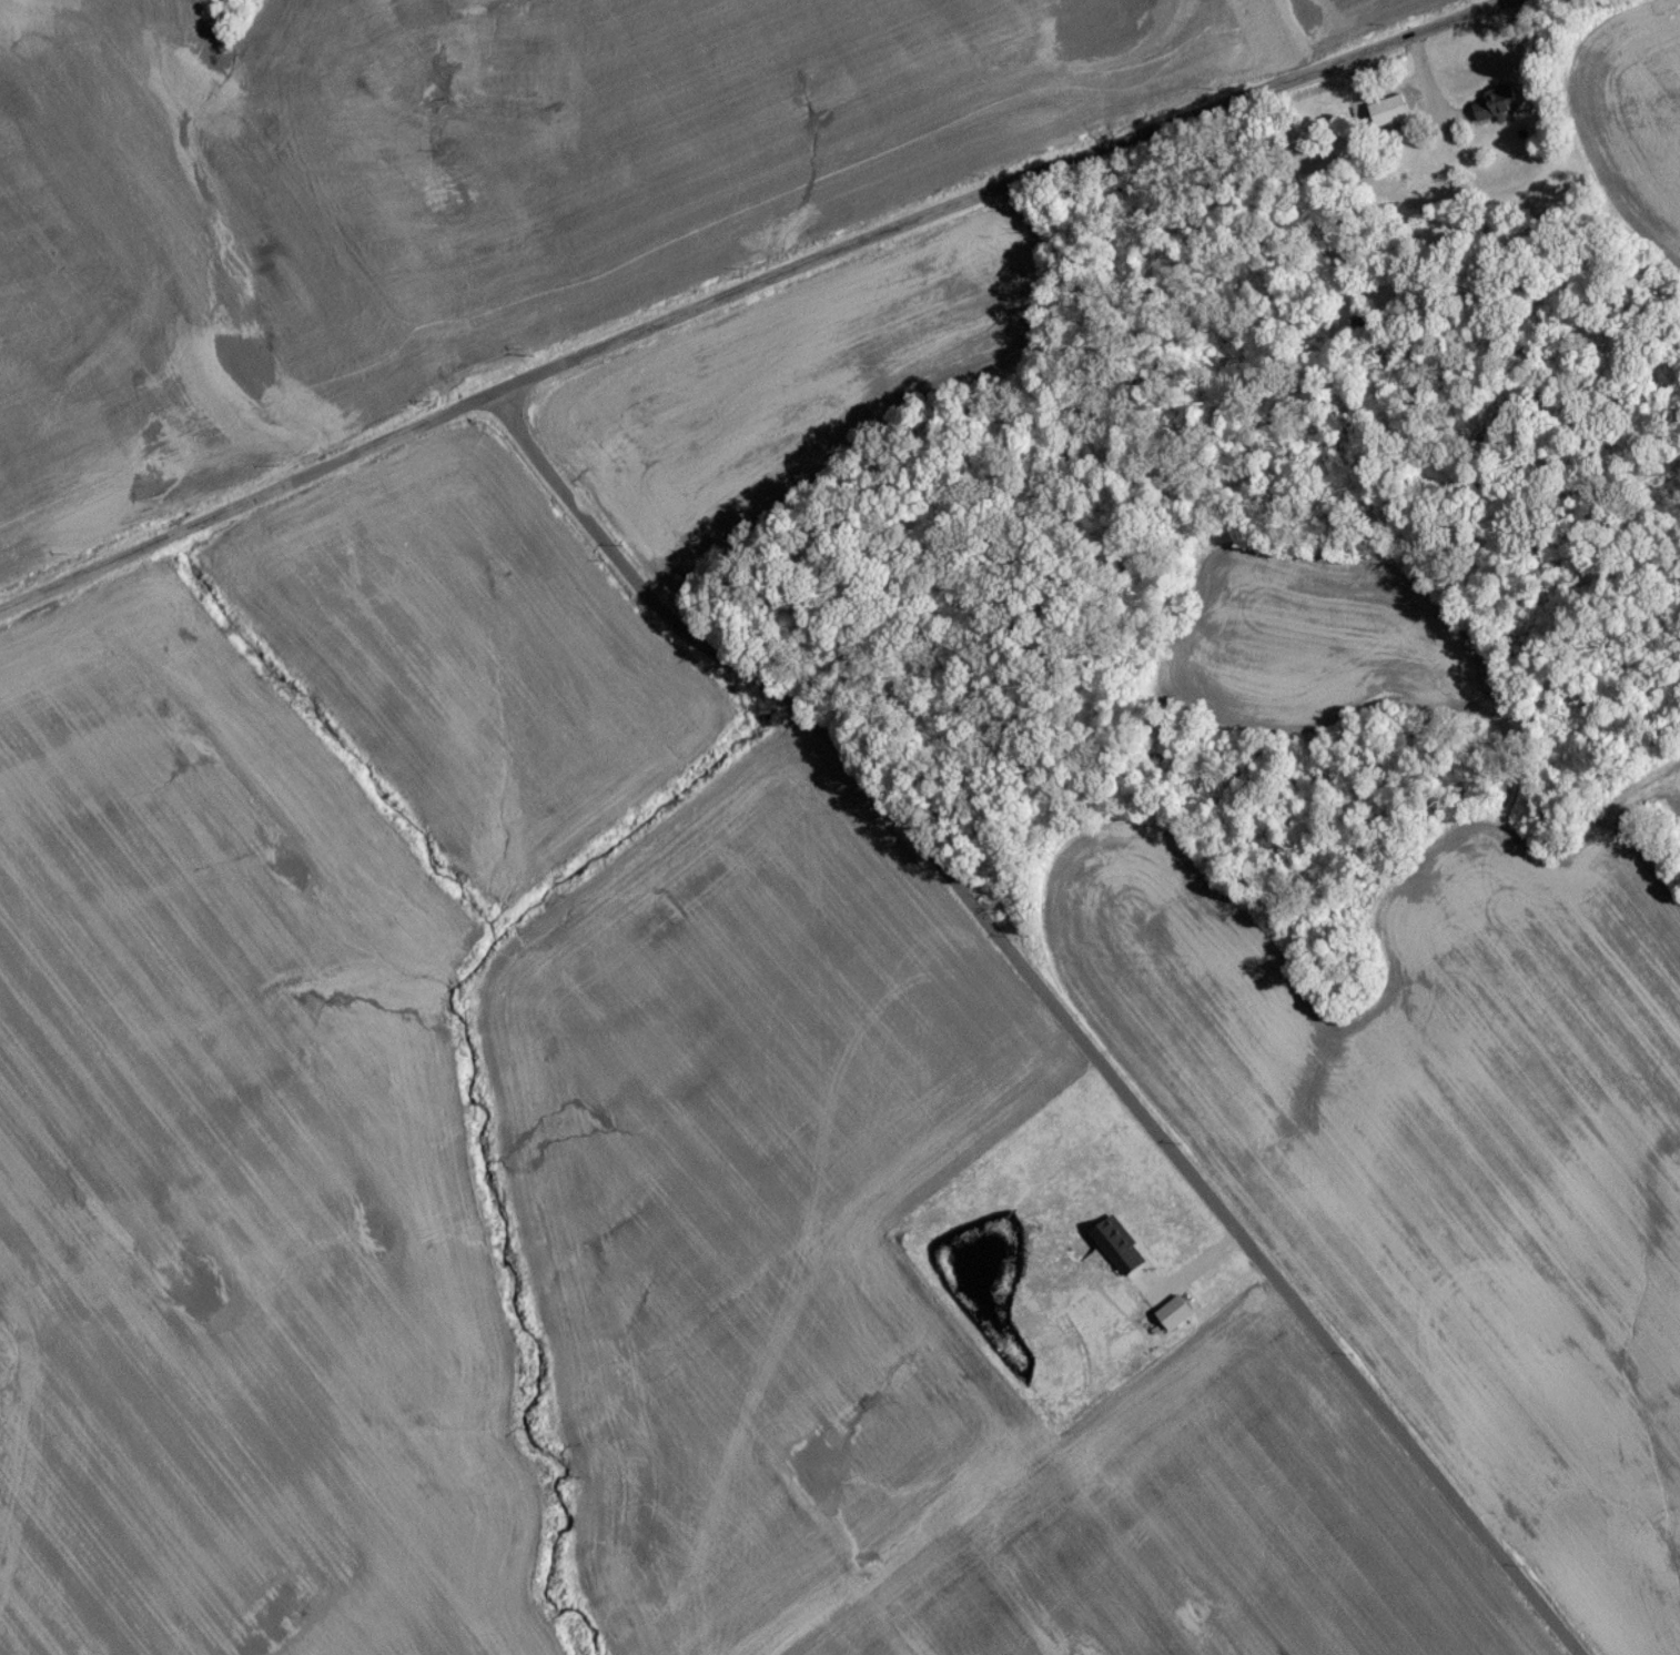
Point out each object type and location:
building: (1390, 117)
road: (750, 294)
road: (1054, 1005)
road: (1193, 1268)

